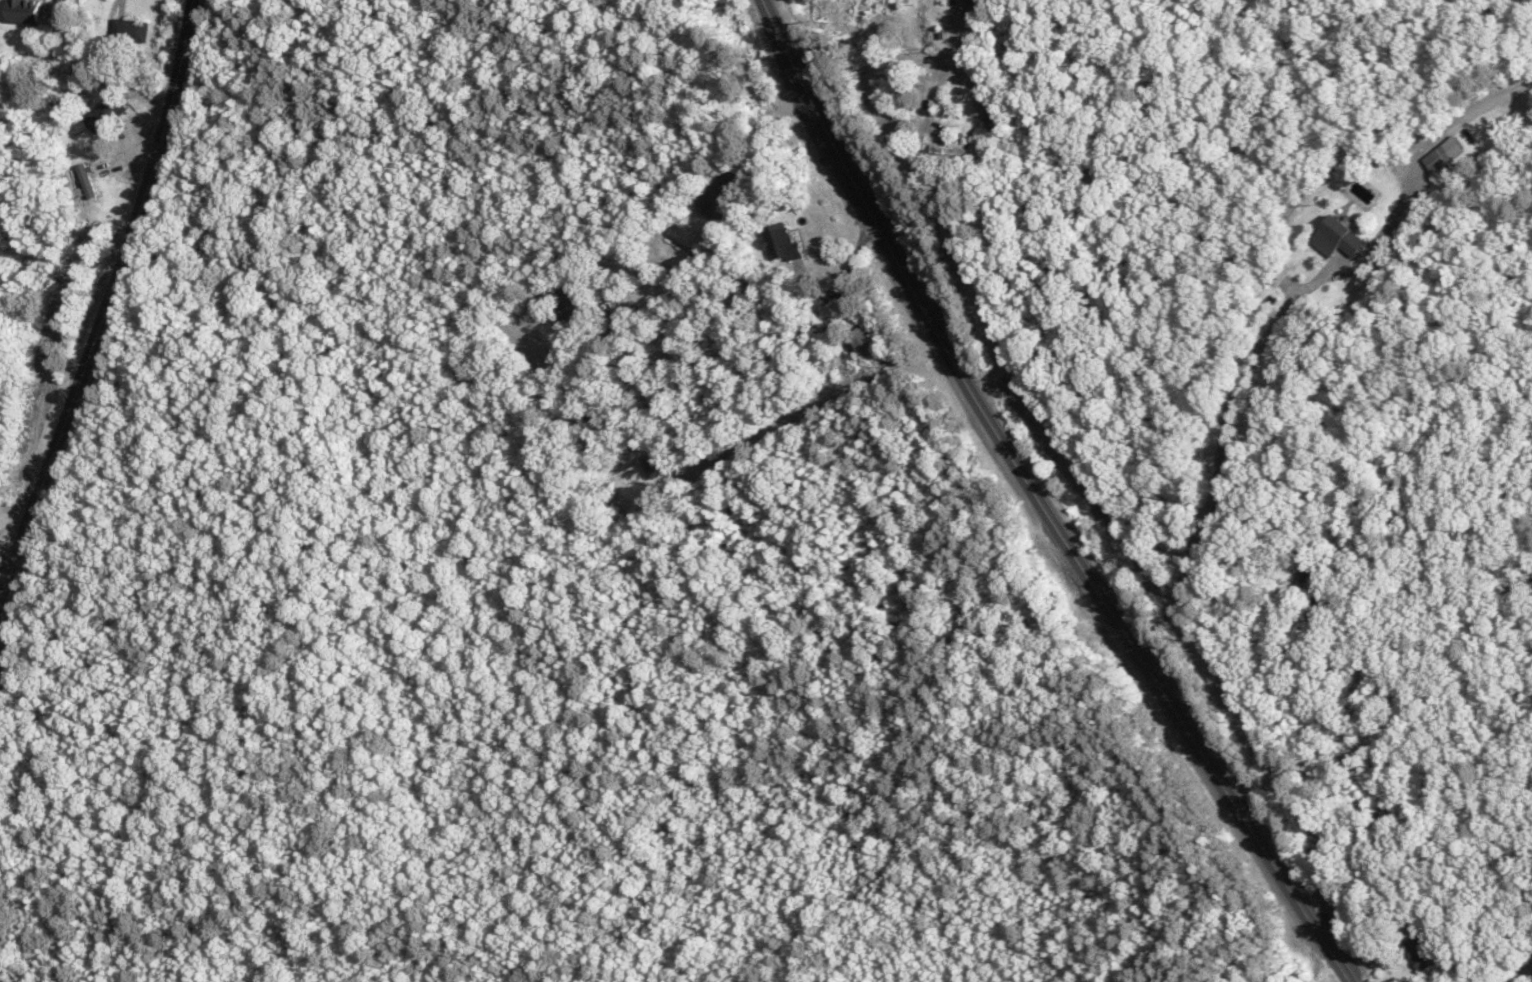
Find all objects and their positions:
building: (973, 2)
building: (21, 11)
building: (129, 29)
road: (875, 62)
road: (948, 67)
building: (989, 109)
building: (105, 113)
building: (952, 150)
building: (1437, 159)
building: (86, 180)
building: (1337, 237)
building: (780, 242)
road: (106, 298)
building: (572, 303)
road: (1277, 315)
building: (860, 341)
road: (813, 405)
building: (653, 464)
road: (1038, 500)
road: (0, 587)
building: (1418, 949)
road: (1333, 978)

